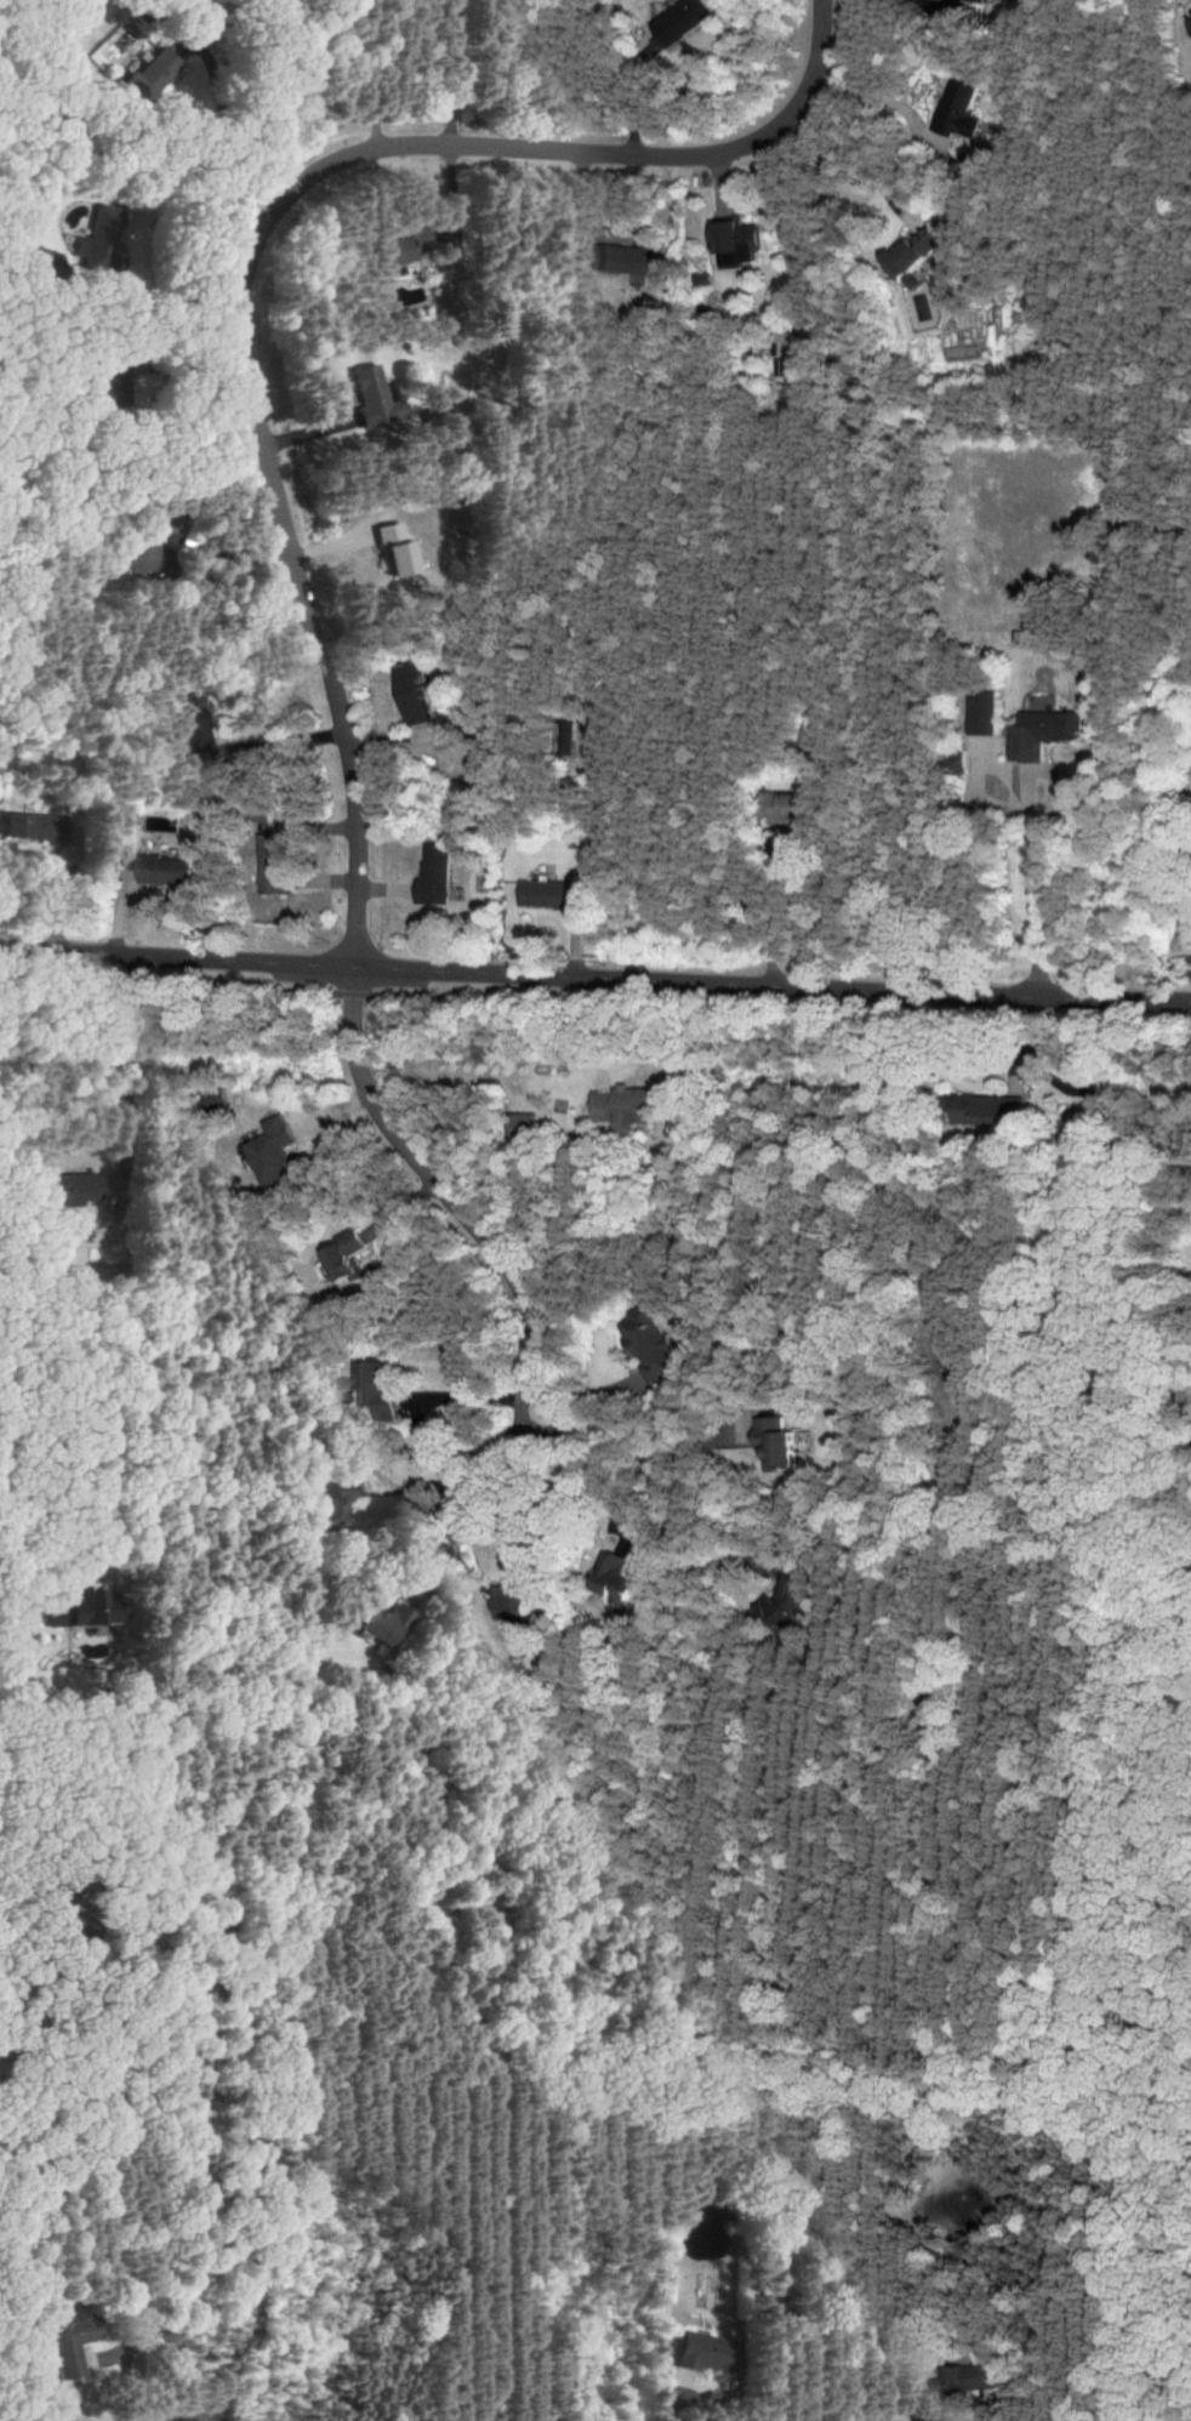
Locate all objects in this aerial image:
building: (975, 1)
building: (679, 19)
building: (1187, 22)
road: (451, 73)
building: (147, 74)
building: (954, 110)
road: (234, 126)
road: (849, 160)
building: (99, 237)
building: (728, 241)
building: (25, 251)
building: (387, 251)
building: (906, 252)
building: (612, 258)
road: (255, 264)
road: (175, 318)
building: (130, 383)
building: (372, 398)
building: (148, 543)
building: (392, 549)
building: (406, 693)
building: (980, 712)
building: (1037, 733)
building: (194, 734)
building: (560, 737)
building: (950, 759)
building: (782, 808)
building: (32, 826)
building: (268, 862)
building: (160, 870)
building: (429, 875)
road: (1036, 889)
building: (545, 894)
road: (594, 976)
road: (598, 1002)
building: (213, 1101)
building: (620, 1106)
building: (982, 1110)
building: (519, 1126)
building: (269, 1151)
building: (67, 1189)
road: (440, 1192)
building: (343, 1253)
building: (648, 1345)
building: (375, 1390)
building: (770, 1441)
road: (457, 1481)
road: (660, 1483)
building: (332, 1500)
building: (615, 1579)
road: (2, 1591)
building: (514, 1602)
building: (773, 1607)
building: (80, 1610)
building: (388, 1624)
road: (258, 2057)
road: (158, 2326)
building: (68, 2345)
building: (702, 2352)
building: (963, 2379)

